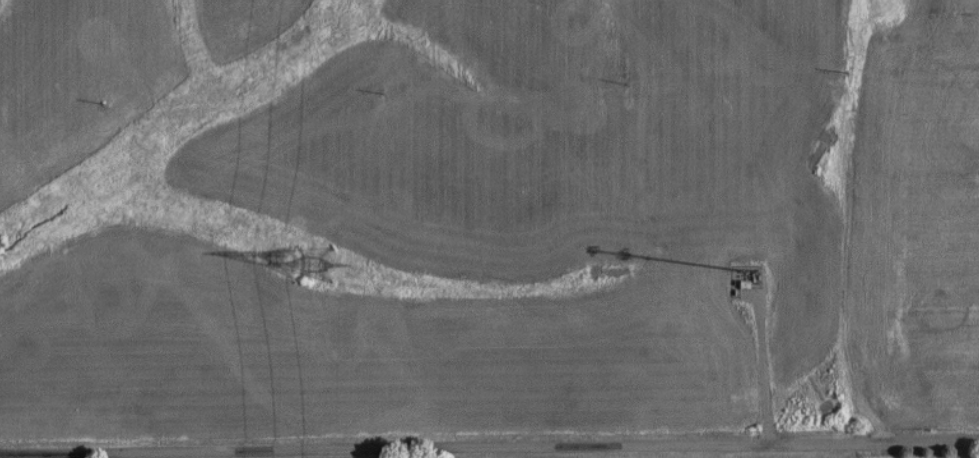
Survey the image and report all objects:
power tower: (304, 267)
road: (765, 367)
road: (489, 452)

